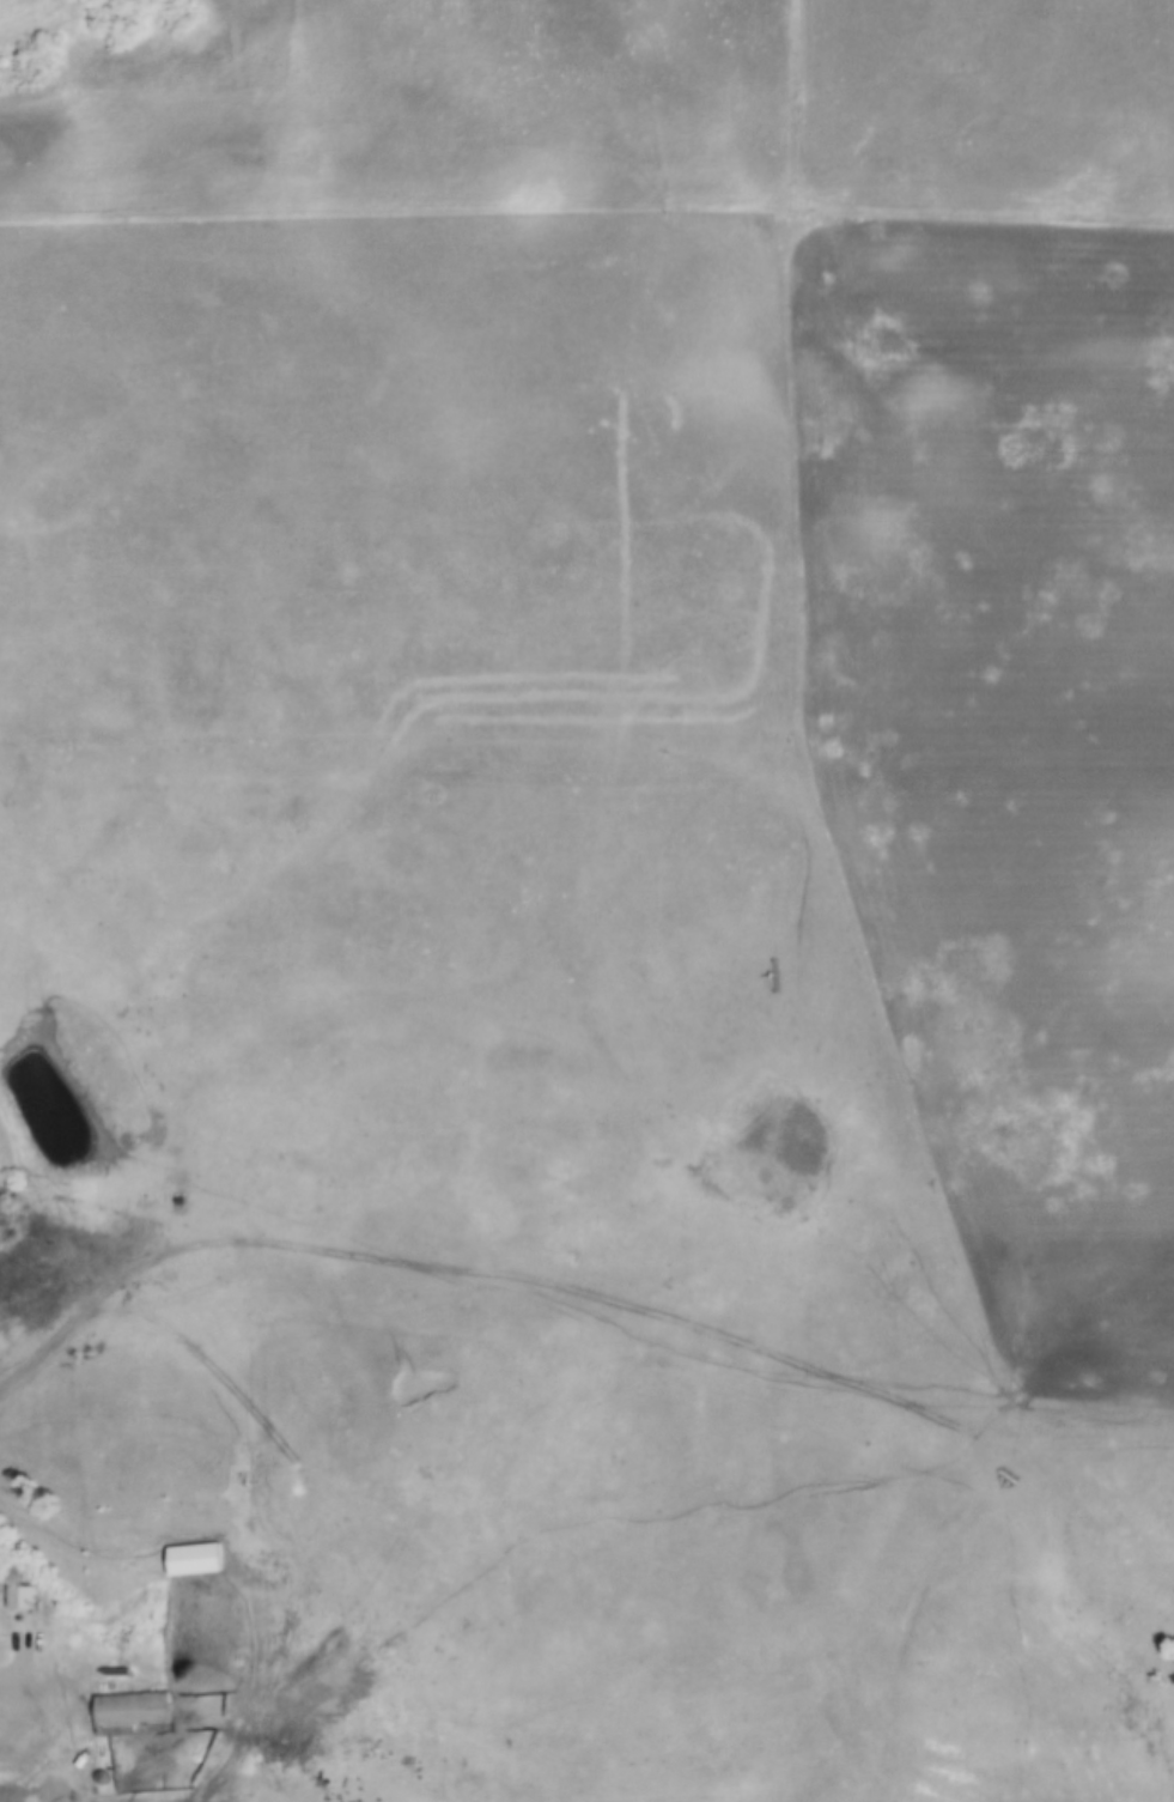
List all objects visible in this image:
building: (191, 1563)
building: (18, 1598)
road: (26, 1680)
building: (133, 1713)

